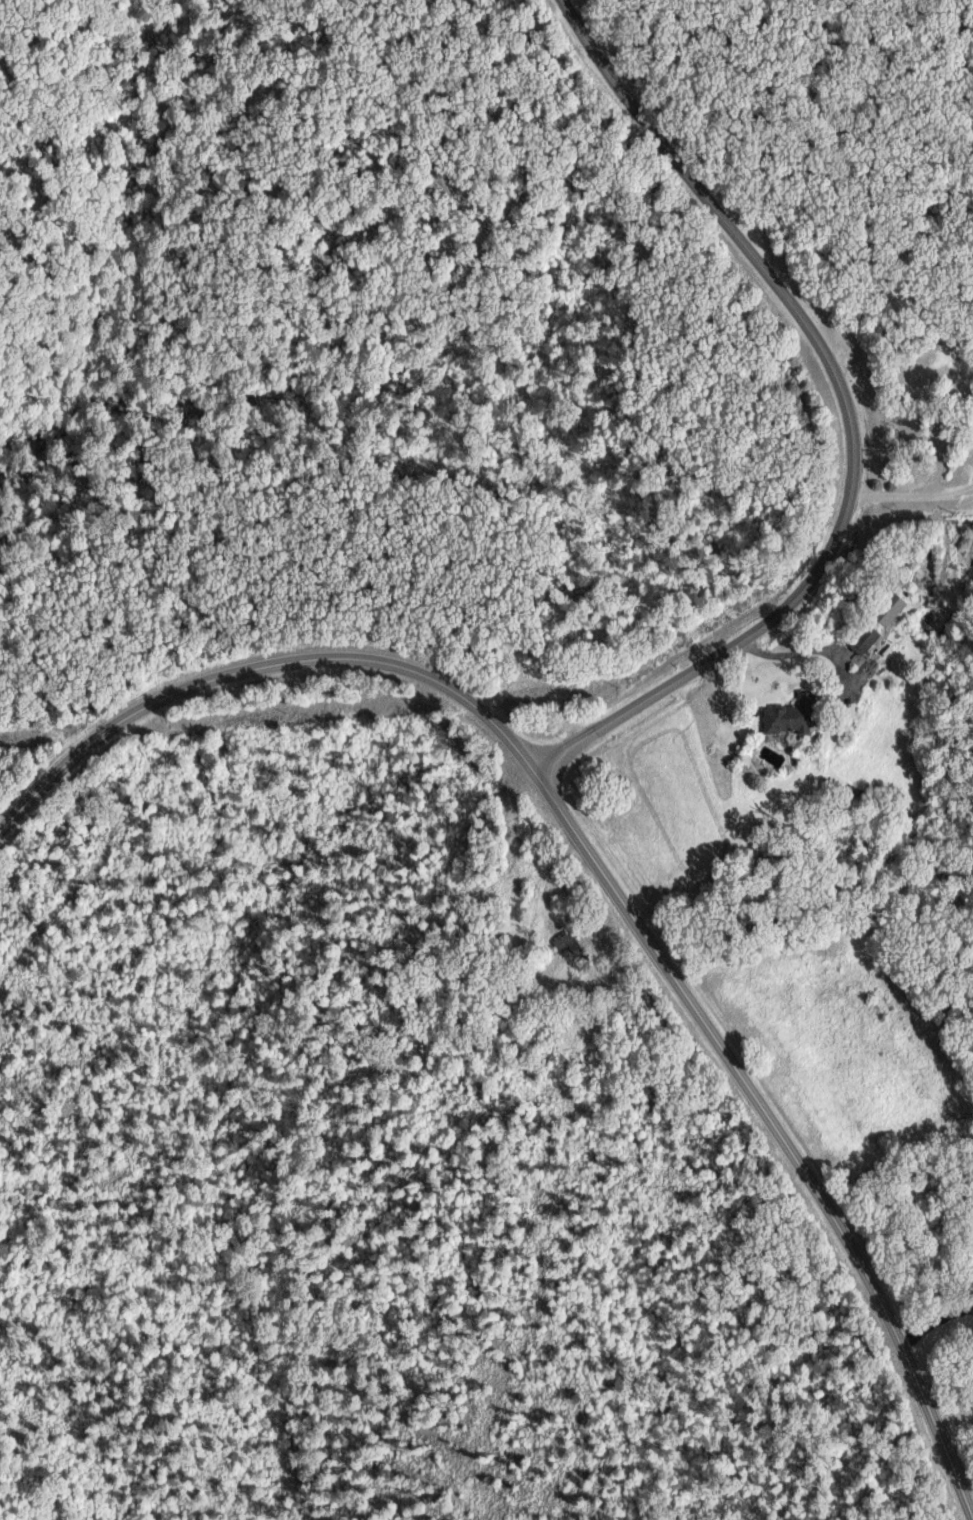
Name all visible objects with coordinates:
road: (564, 1)
road: (848, 419)
road: (910, 487)
road: (841, 618)
building: (867, 640)
building: (794, 714)
road: (598, 873)
road: (935, 1319)

